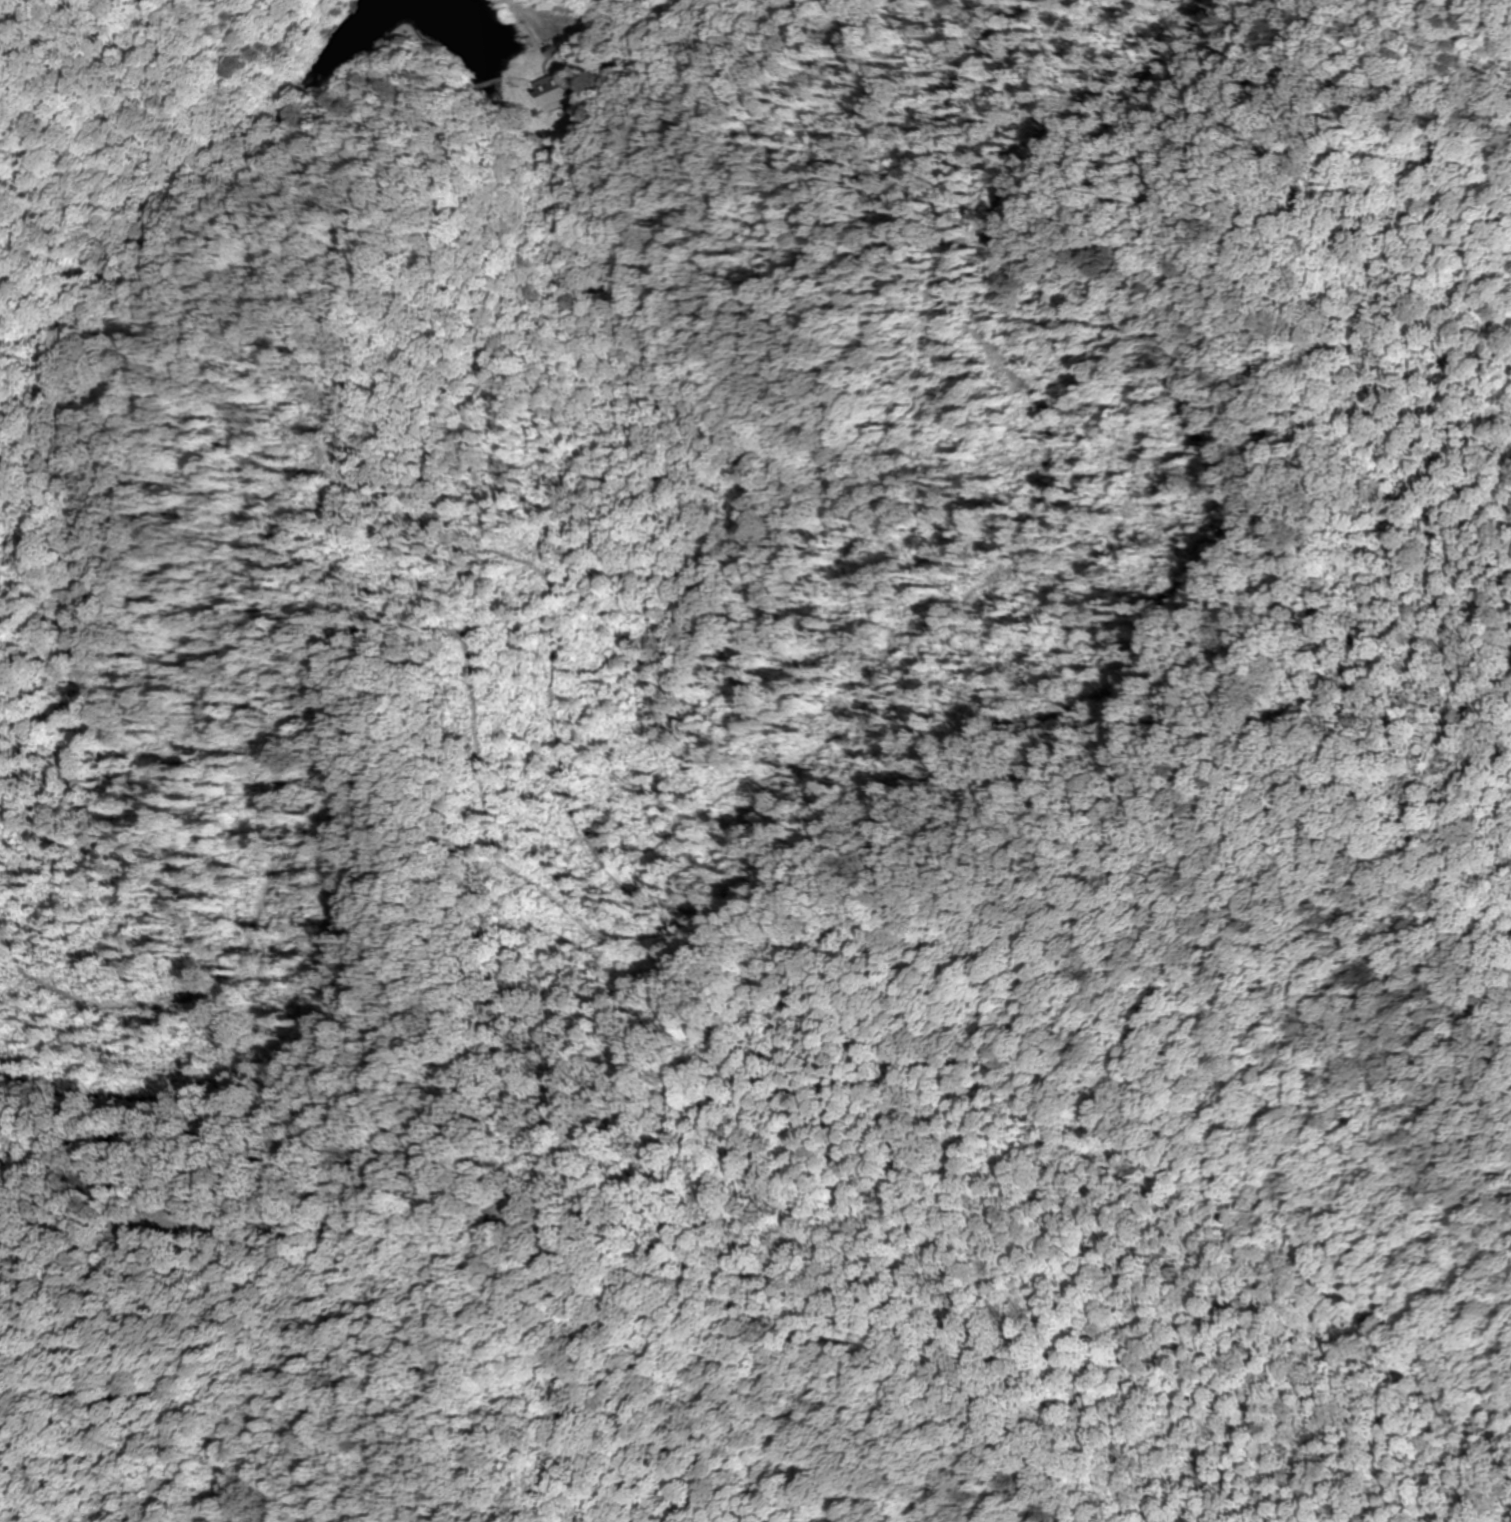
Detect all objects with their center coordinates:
building: (555, 92)

